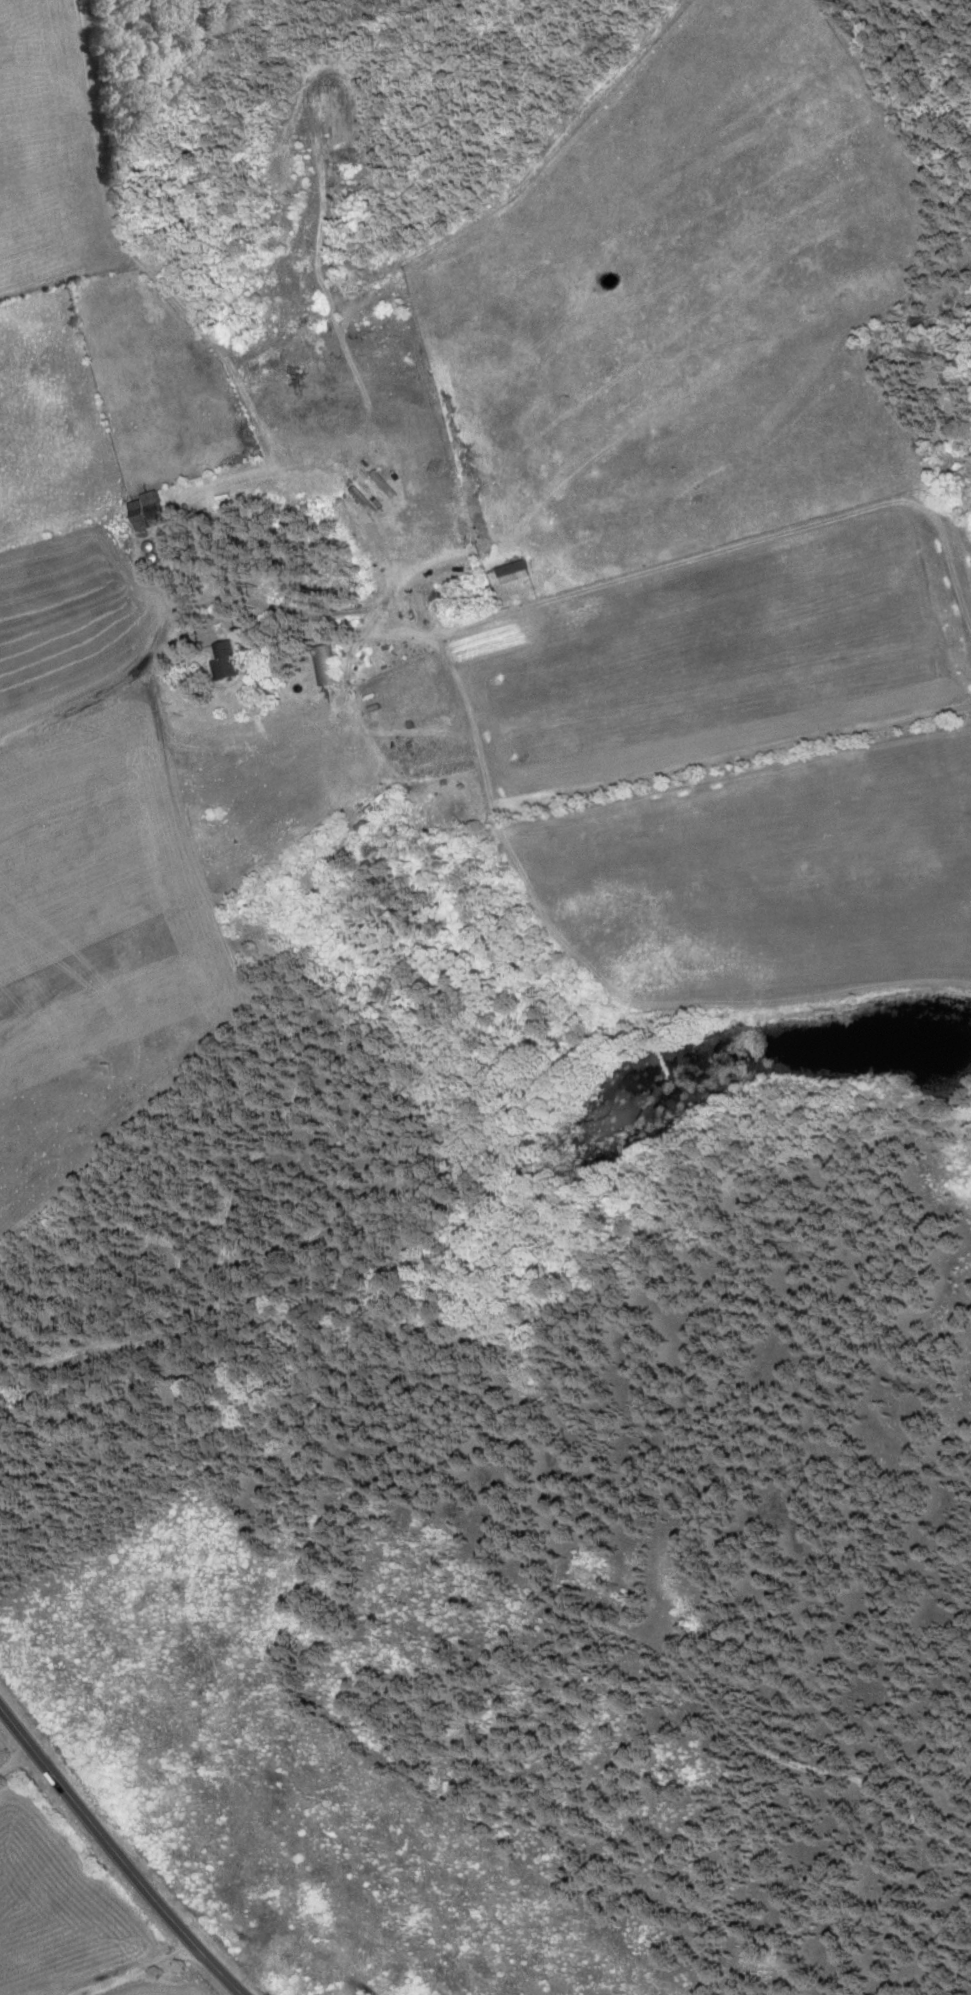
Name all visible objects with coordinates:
building: (146, 508)
building: (226, 658)
building: (325, 663)
road: (117, 1854)

